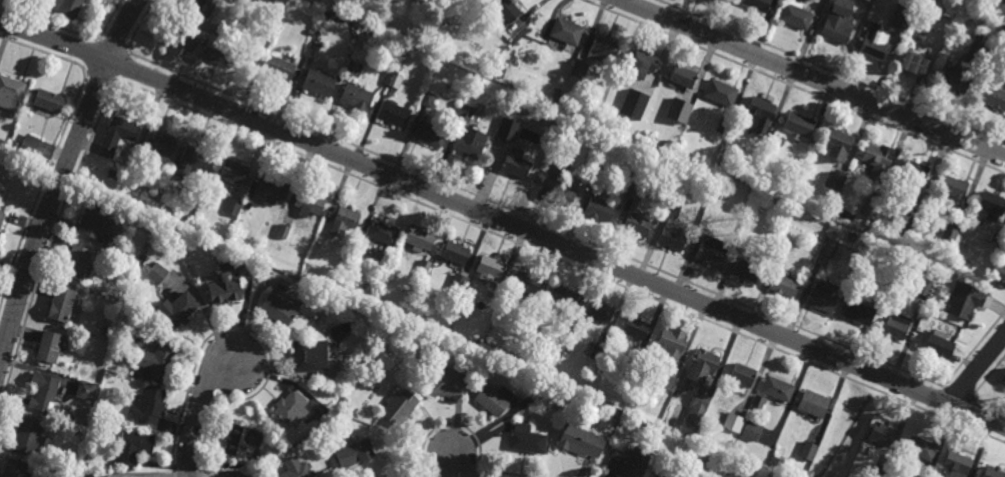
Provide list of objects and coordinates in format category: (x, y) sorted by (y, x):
building: (871, 0)
building: (757, 4)
building: (204, 6)
building: (65, 7)
building: (392, 8)
building: (507, 10)
building: (348, 12)
building: (796, 15)
building: (902, 16)
building: (839, 22)
building: (219, 32)
building: (310, 32)
building: (568, 32)
building: (178, 42)
building: (603, 49)
building: (875, 49)
building: (314, 50)
building: (449, 51)
building: (214, 55)
building: (398, 62)
building: (642, 64)
building: (914, 64)
building: (280, 68)
building: (354, 69)
building: (581, 70)
building: (685, 75)
road: (813, 78)
building: (955, 79)
building: (663, 81)
building: (391, 82)
building: (318, 83)
building: (642, 91)
building: (11, 92)
building: (720, 92)
building: (993, 97)
building: (357, 98)
building: (49, 100)
building: (429, 100)
building: (661, 101)
building: (633, 104)
building: (680, 110)
building: (393, 114)
building: (465, 114)
building: (761, 114)
building: (723, 126)
building: (799, 126)
building: (508, 130)
building: (430, 134)
building: (117, 135)
building: (30, 143)
building: (470, 143)
building: (159, 144)
building: (838, 144)
building: (671, 145)
building: (12, 150)
building: (878, 160)
building: (195, 162)
building: (516, 164)
building: (560, 165)
building: (913, 170)
building: (235, 172)
building: (599, 172)
building: (113, 174)
road: (61, 177)
building: (834, 181)
building: (757, 182)
building: (129, 183)
building: (273, 190)
building: (953, 190)
building: (635, 191)
building: (674, 191)
building: (563, 196)
building: (308, 205)
building: (760, 205)
building: (991, 205)
building: (870, 207)
building: (234, 208)
building: (600, 208)
building: (671, 210)
building: (158, 213)
building: (274, 217)
building: (2, 219)
building: (96, 223)
building: (344, 223)
road: (503, 223)
building: (637, 224)
building: (908, 227)
building: (283, 233)
building: (383, 233)
building: (949, 233)
building: (0, 235)
building: (420, 239)
building: (672, 239)
building: (784, 240)
building: (830, 249)
building: (358, 251)
building: (711, 251)
building: (455, 254)
building: (779, 254)
building: (77, 263)
building: (491, 267)
building: (422, 270)
building: (746, 271)
building: (999, 272)
building: (158, 274)
building: (526, 282)
building: (458, 283)
building: (785, 286)
building: (923, 286)
building: (228, 295)
building: (823, 297)
building: (564, 298)
building: (966, 300)
building: (62, 306)
building: (179, 312)
building: (277, 312)
building: (598, 312)
building: (858, 313)
building: (897, 327)
building: (633, 328)
building: (107, 333)
building: (672, 342)
building: (559, 345)
building: (939, 345)
building: (50, 350)
building: (597, 352)
building: (308, 355)
building: (159, 362)
building: (703, 365)
building: (631, 366)
road: (977, 370)
building: (547, 373)
building: (742, 375)
building: (666, 381)
building: (1004, 381)
building: (447, 383)
building: (87, 387)
building: (1004, 388)
building: (777, 389)
building: (45, 391)
building: (563, 391)
building: (677, 391)
building: (494, 398)
building: (758, 402)
building: (150, 403)
building: (701, 403)
building: (813, 404)
building: (290, 407)
building: (399, 407)
building: (343, 408)
road: (198, 412)
building: (94, 421)
building: (732, 423)
building: (751, 431)
building: (28, 432)
building: (882, 434)
building: (237, 438)
building: (526, 438)
building: (581, 440)
building: (135, 444)
building: (920, 447)
building: (808, 451)
building: (352, 453)
building: (628, 462)
road: (453, 463)
building: (956, 463)
building: (15, 467)
building: (697, 468)
building: (297, 471)
building: (881, 471)
building: (993, 471)
building: (90, 474)
building: (659, 475)
building: (128, 476)

